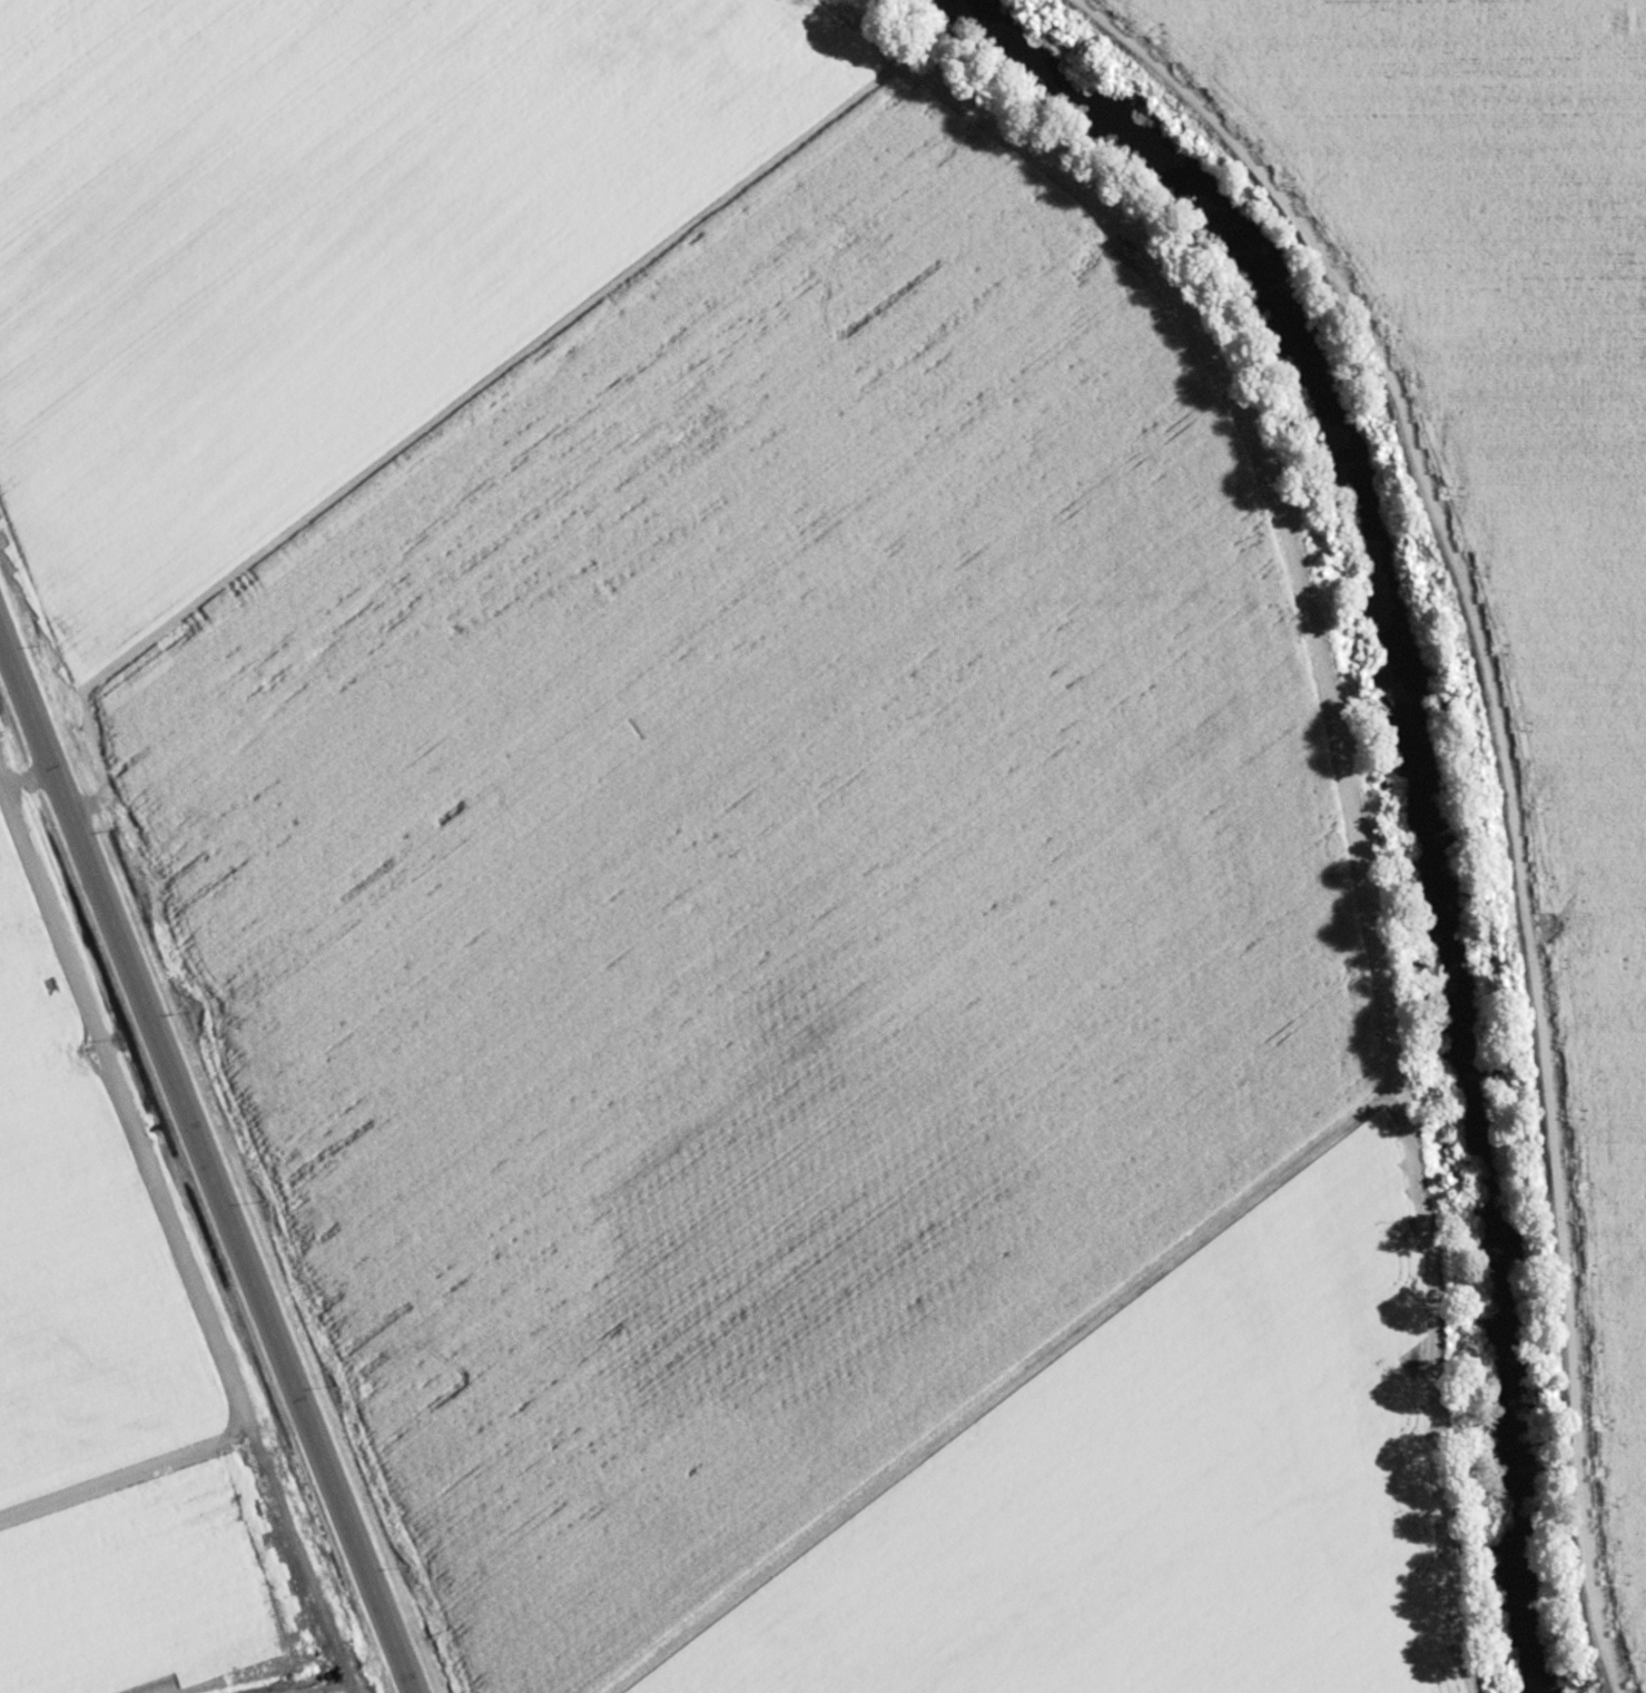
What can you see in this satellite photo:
road: (8, 698)
road: (1351, 750)
river: (1422, 762)
road: (1504, 782)
road: (205, 1171)

